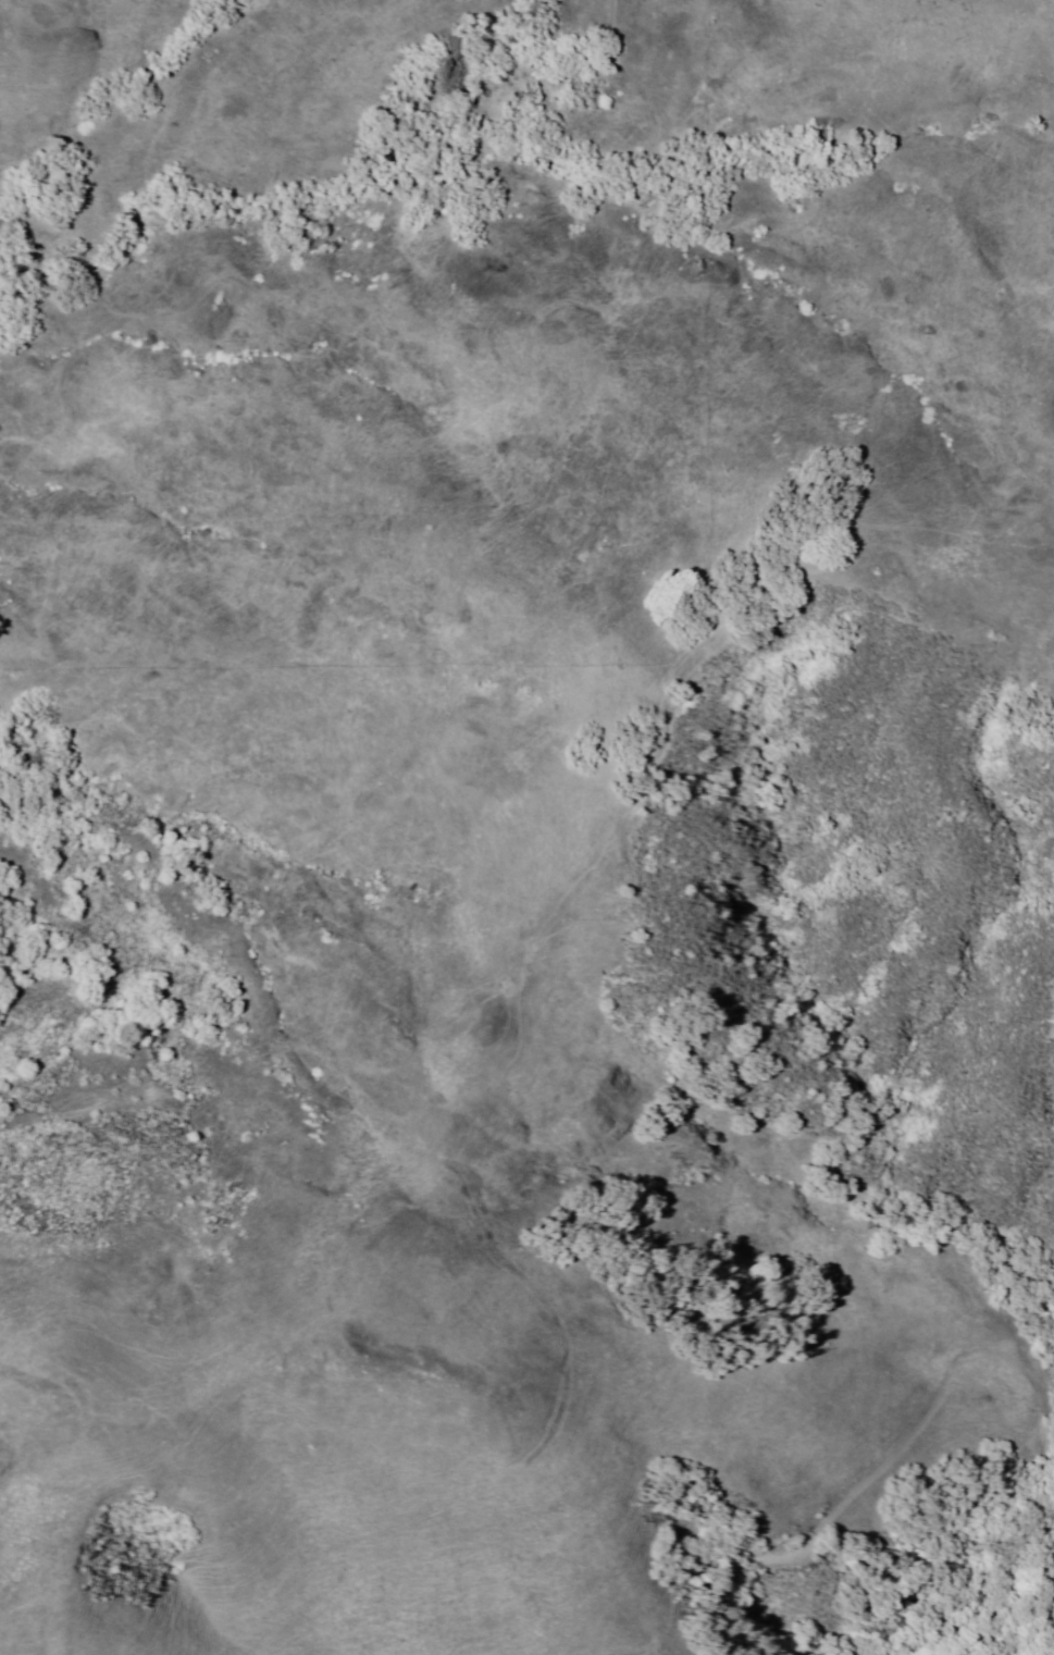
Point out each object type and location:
road: (935, 1404)

